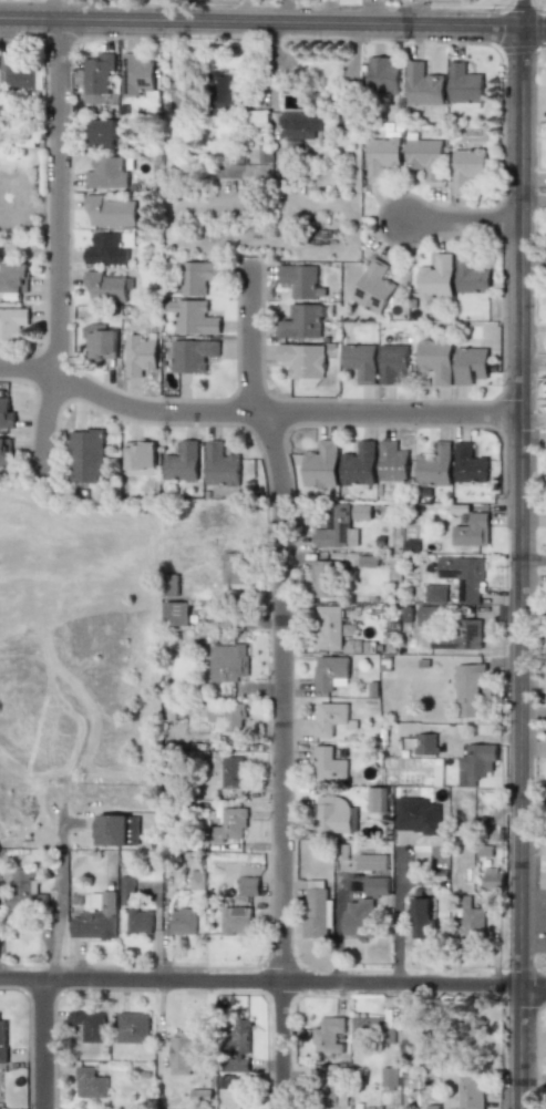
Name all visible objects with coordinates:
road: (133, 10)
road: (521, 13)
road: (260, 22)
road: (534, 27)
building: (135, 74)
building: (382, 75)
building: (23, 78)
building: (97, 78)
building: (463, 84)
building: (422, 85)
building: (300, 124)
building: (102, 133)
building: (265, 155)
building: (381, 157)
building: (425, 157)
building: (466, 168)
building: (105, 173)
road: (543, 199)
road: (532, 201)
building: (109, 210)
road: (464, 229)
road: (59, 248)
building: (105, 249)
building: (470, 274)
building: (197, 277)
building: (435, 277)
building: (298, 279)
building: (105, 287)
building: (373, 287)
building: (193, 317)
building: (302, 321)
building: (12, 322)
building: (100, 340)
building: (138, 355)
building: (193, 355)
road: (532, 359)
building: (301, 360)
building: (360, 361)
building: (434, 361)
building: (391, 362)
building: (470, 364)
building: (6, 414)
road: (251, 414)
road: (530, 420)
building: (4, 452)
building: (87, 456)
building: (141, 458)
building: (183, 462)
building: (391, 462)
building: (359, 464)
building: (433, 464)
building: (468, 464)
building: (220, 465)
building: (320, 465)
road: (516, 504)
building: (359, 512)
building: (336, 528)
building: (471, 531)
road: (532, 559)
building: (233, 567)
building: (463, 576)
building: (321, 578)
building: (434, 594)
building: (175, 613)
building: (426, 616)
building: (328, 627)
building: (467, 634)
building: (227, 663)
building: (329, 672)
road: (282, 685)
building: (468, 689)
building: (226, 715)
building: (329, 718)
building: (425, 743)
building: (328, 763)
building: (475, 763)
building: (231, 771)
building: (377, 800)
building: (332, 814)
building: (416, 815)
building: (228, 825)
building: (110, 830)
building: (132, 830)
building: (371, 862)
building: (493, 877)
building: (375, 886)
road: (62, 887)
building: (125, 887)
building: (24, 892)
building: (94, 901)
building: (317, 910)
building: (421, 917)
building: (357, 918)
building: (96, 920)
building: (235, 920)
road: (402, 920)
building: (138, 921)
building: (182, 921)
building: (471, 924)
road: (272, 980)
building: (89, 1025)
building: (132, 1027)
building: (368, 1028)
building: (460, 1033)
building: (328, 1035)
building: (2, 1041)
road: (43, 1045)
building: (411, 1046)
road: (521, 1046)
building: (237, 1050)
building: (183, 1051)
building: (389, 1077)
building: (90, 1082)
building: (231, 1082)
building: (470, 1092)

